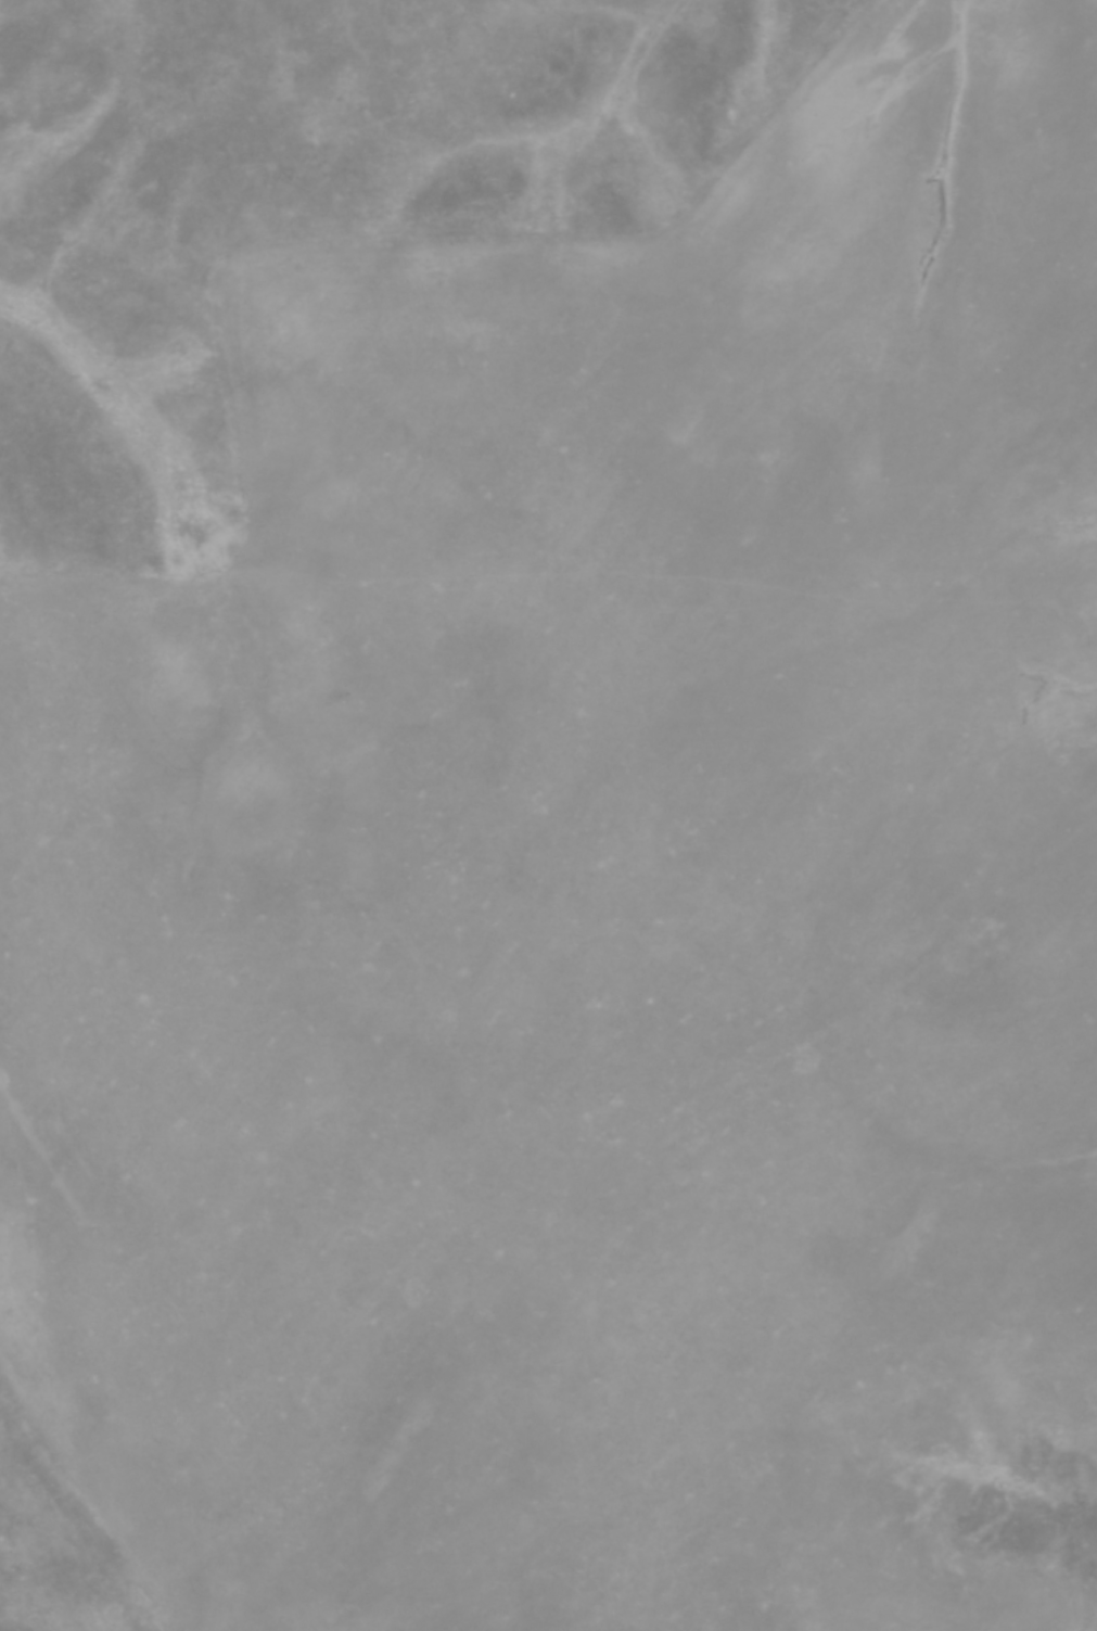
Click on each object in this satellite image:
crop: (592, 904)

